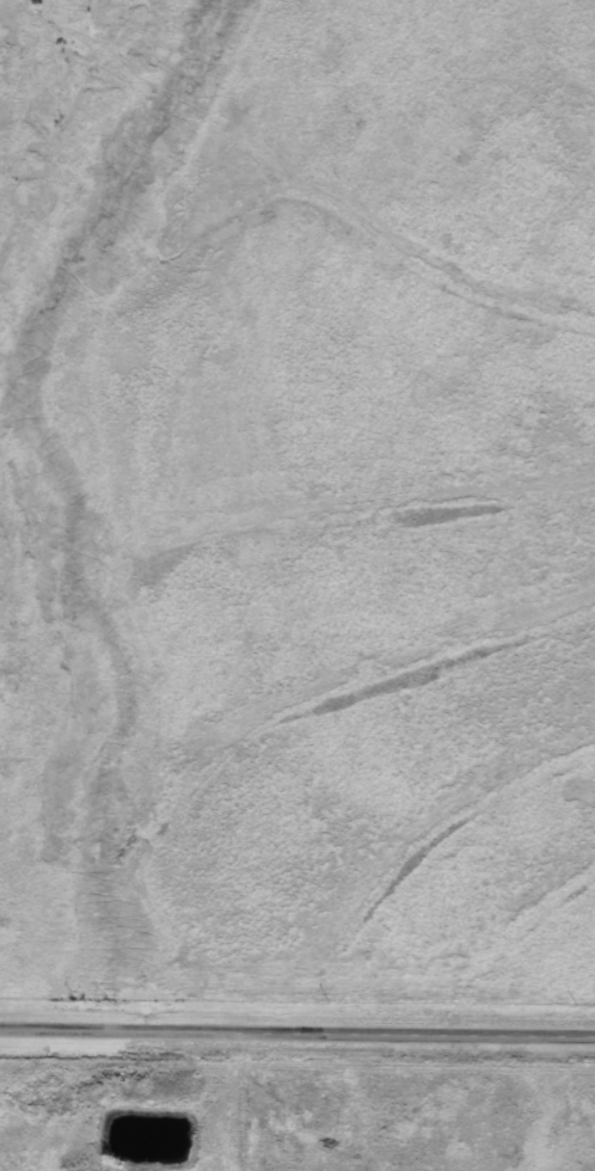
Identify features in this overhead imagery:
road: (297, 1031)

